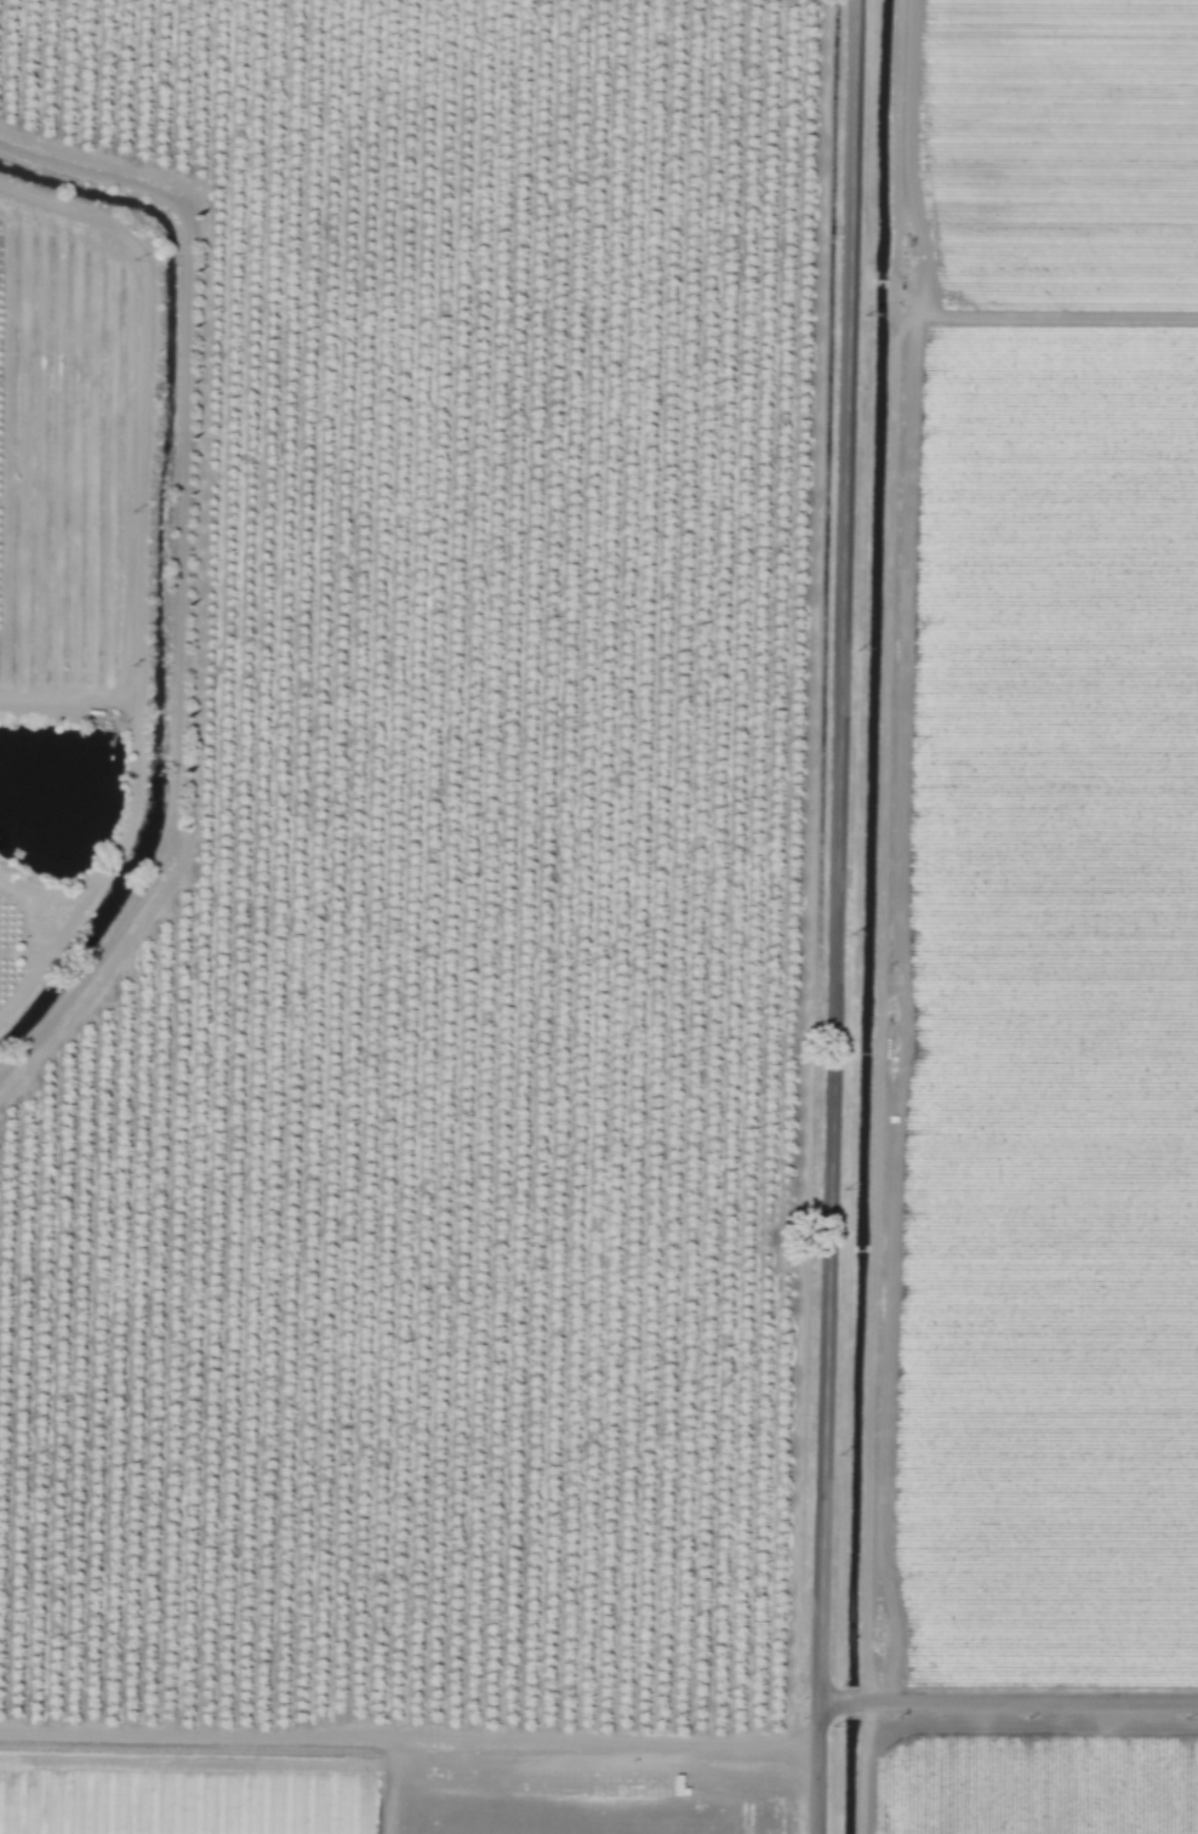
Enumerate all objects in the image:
road: (837, 916)
road: (1009, 1709)

